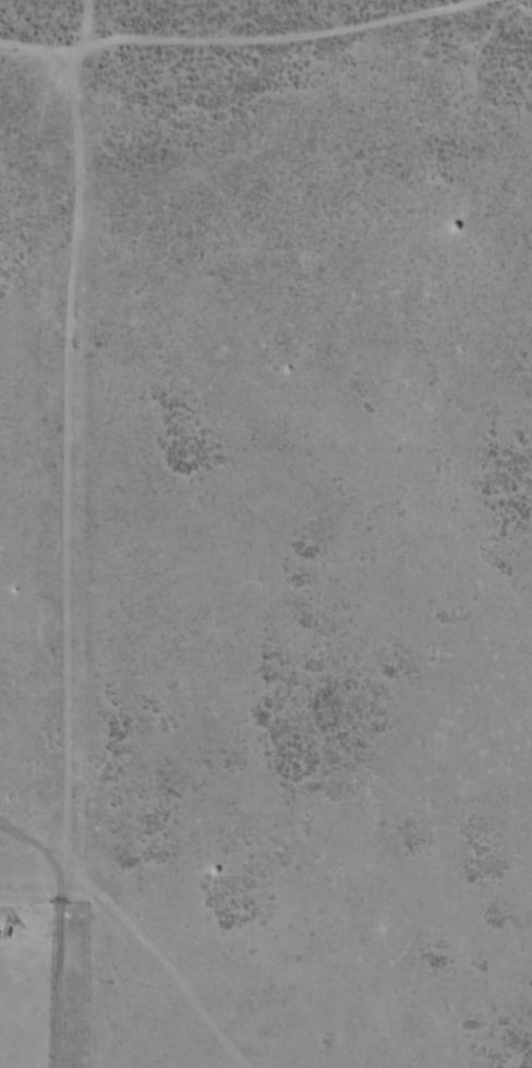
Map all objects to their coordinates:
road: (65, 361)
road: (34, 847)
crop: (28, 975)

